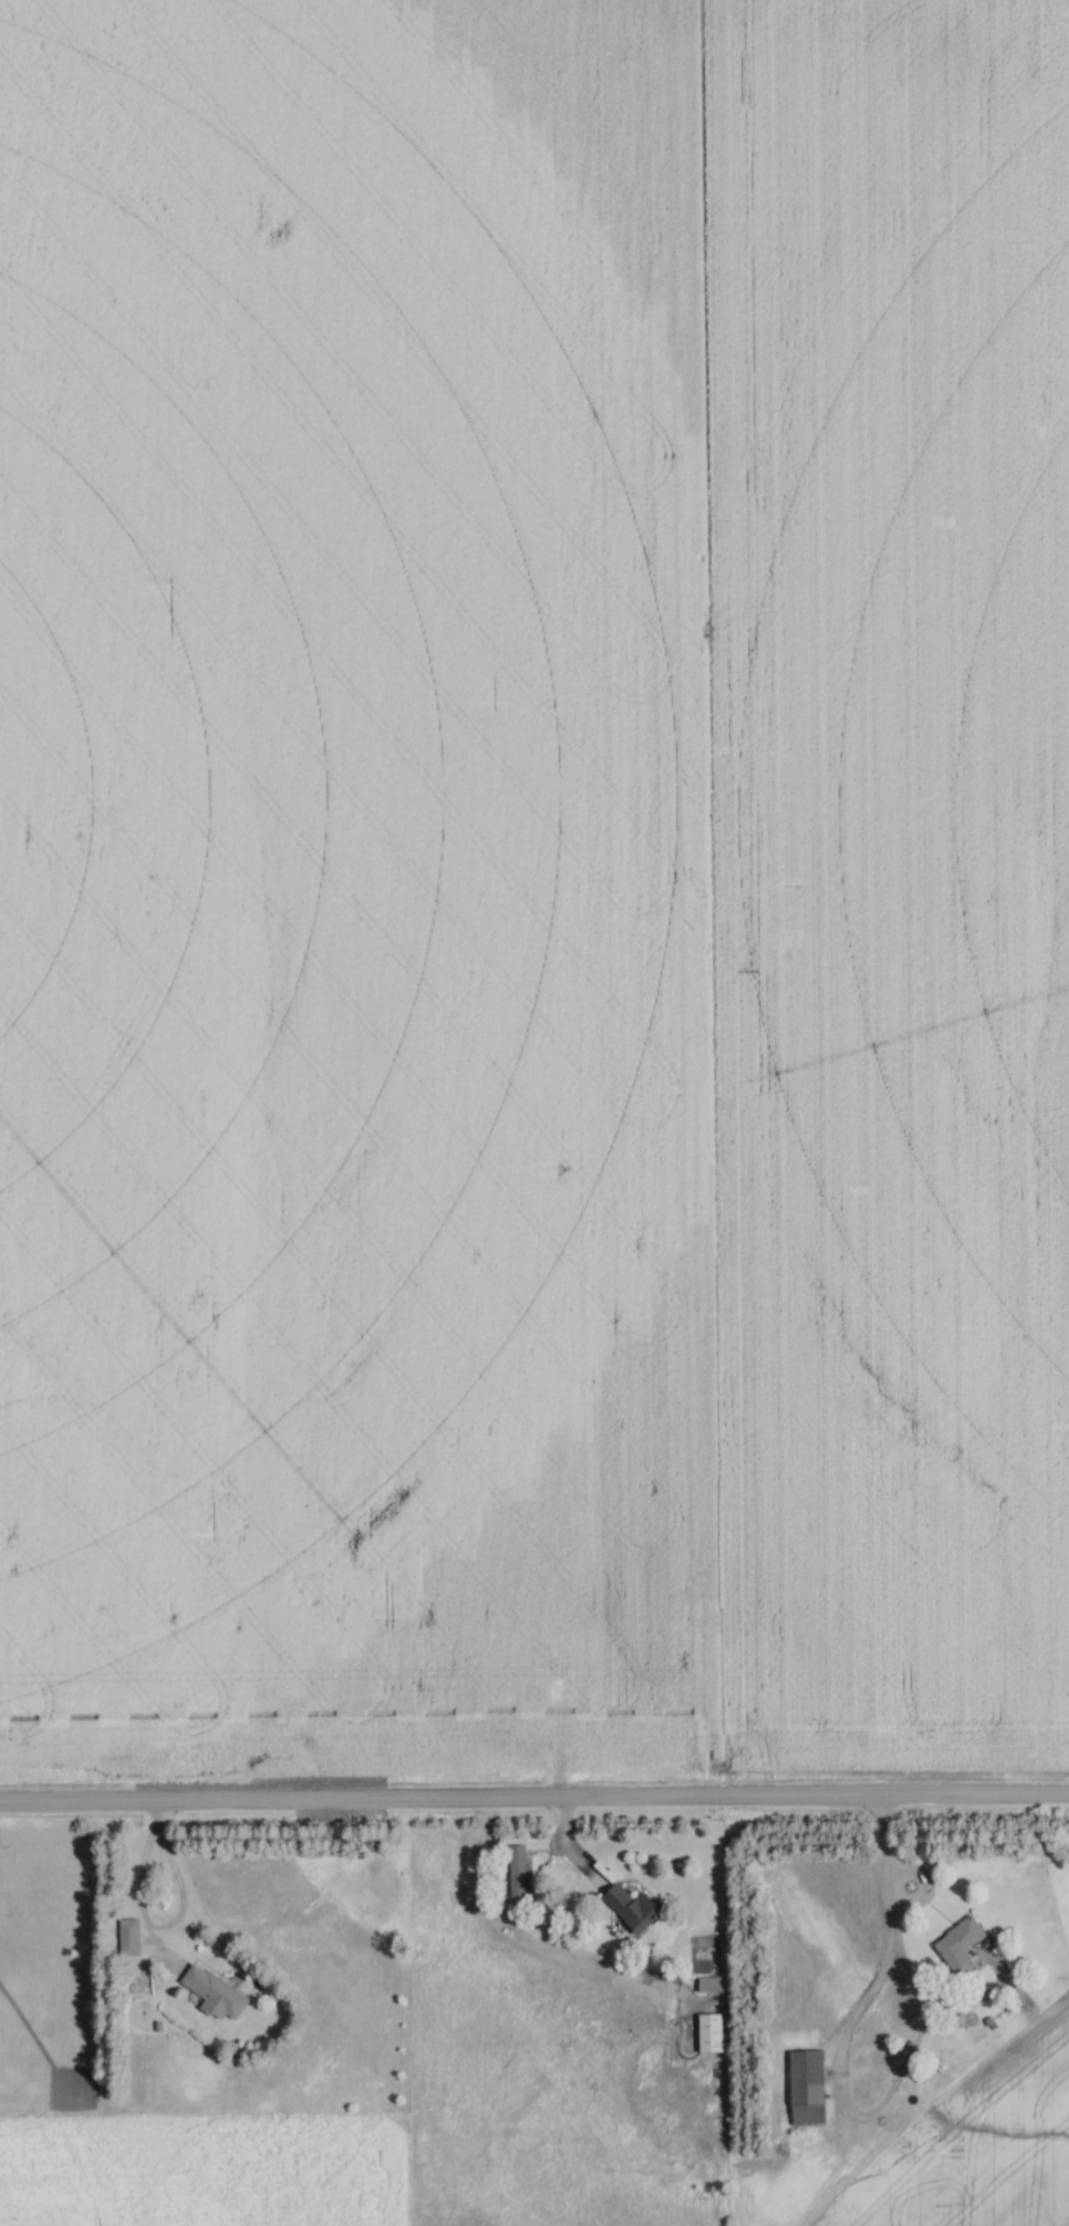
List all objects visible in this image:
road: (533, 1798)
road: (154, 1815)
building: (511, 1871)
road: (135, 1877)
building: (629, 1907)
building: (956, 1945)
road: (897, 1963)
building: (705, 1985)
building: (210, 1992)
building: (707, 2032)
building: (803, 2087)

